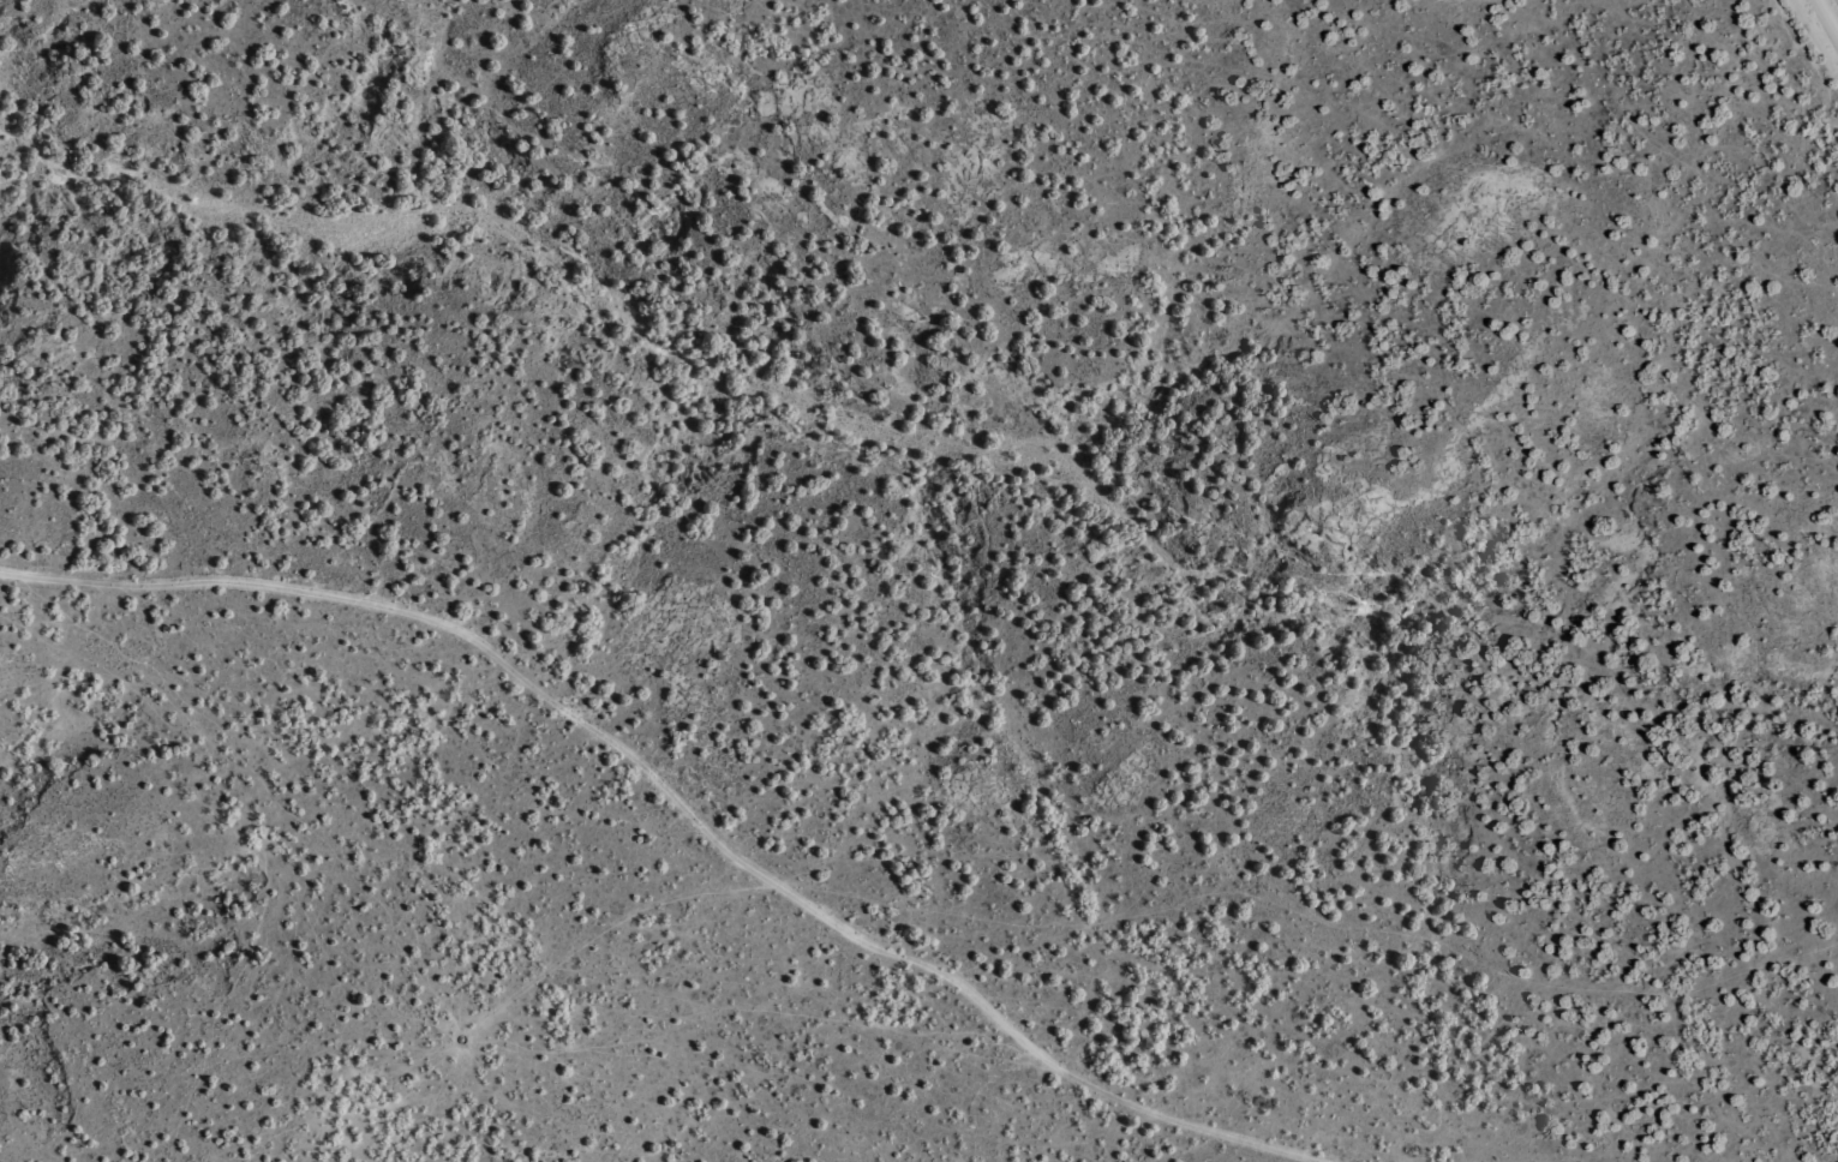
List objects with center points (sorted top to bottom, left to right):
road: (1832, 8)
road: (705, 828)

